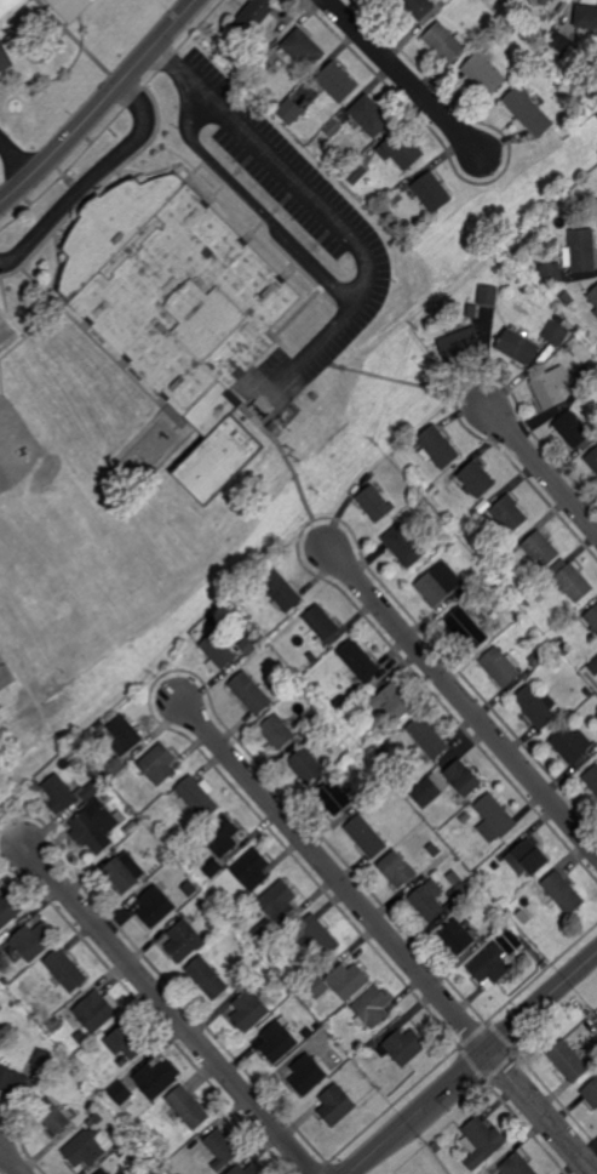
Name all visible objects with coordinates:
building: (543, 1)
building: (10, 7)
building: (71, 7)
building: (418, 7)
building: (253, 16)
building: (585, 17)
building: (496, 18)
building: (536, 34)
building: (444, 42)
building: (558, 44)
building: (304, 49)
building: (5, 58)
building: (239, 72)
building: (484, 74)
building: (249, 78)
road: (404, 78)
building: (338, 81)
road: (99, 104)
building: (291, 110)
building: (528, 112)
building: (371, 115)
building: (333, 127)
building: (401, 149)
road: (17, 158)
building: (357, 173)
road: (91, 178)
building: (432, 192)
building: (396, 198)
road: (253, 203)
building: (596, 204)
road: (323, 210)
building: (581, 251)
building: (550, 274)
building: (176, 293)
building: (488, 296)
building: (593, 296)
building: (567, 298)
building: (471, 310)
building: (596, 313)
building: (558, 320)
building: (556, 334)
building: (460, 344)
building: (517, 348)
building: (589, 372)
road: (398, 380)
building: (552, 388)
building: (572, 429)
building: (438, 445)
road: (285, 457)
building: (218, 458)
building: (592, 458)
road: (543, 467)
building: (477, 478)
park: (259, 498)
building: (374, 502)
building: (509, 513)
building: (404, 545)
building: (540, 548)
building: (570, 580)
building: (438, 583)
building: (280, 589)
building: (534, 591)
building: (501, 602)
building: (527, 605)
building: (592, 617)
building: (323, 625)
building: (466, 627)
building: (248, 644)
building: (218, 651)
building: (539, 656)
building: (358, 663)
building: (593, 666)
building: (500, 667)
building: (251, 693)
road: (461, 699)
building: (363, 701)
building: (392, 701)
building: (535, 706)
road: (40, 707)
building: (338, 711)
building: (585, 711)
building: (321, 714)
building: (309, 725)
building: (126, 731)
building: (277, 731)
building: (427, 737)
building: (570, 743)
building: (157, 764)
building: (305, 765)
building: (115, 766)
building: (201, 771)
building: (464, 777)
building: (591, 777)
building: (88, 792)
building: (109, 792)
building: (426, 792)
building: (58, 793)
building: (334, 797)
building: (196, 798)
building: (157, 803)
building: (465, 817)
building: (494, 819)
building: (94, 827)
building: (197, 827)
road: (11, 828)
building: (220, 836)
building: (366, 837)
building: (434, 849)
building: (528, 859)
building: (493, 865)
building: (213, 870)
building: (251, 870)
building: (398, 870)
building: (122, 872)
building: (500, 872)
road: (333, 874)
building: (535, 887)
building: (190, 889)
building: (563, 893)
building: (482, 896)
building: (459, 897)
building: (429, 900)
building: (279, 901)
building: (155, 906)
building: (8, 910)
building: (526, 916)
building: (220, 923)
building: (266, 931)
building: (320, 935)
building: (507, 935)
building: (458, 938)
building: (184, 940)
building: (31, 942)
building: (1, 952)
building: (315, 964)
building: (490, 968)
building: (65, 970)
building: (260, 975)
building: (206, 978)
building: (6, 981)
building: (349, 981)
building: (317, 986)
building: (374, 1007)
road: (171, 1008)
building: (249, 1010)
building: (96, 1011)
park: (8, 1019)
building: (56, 1025)
building: (306, 1033)
building: (277, 1042)
building: (126, 1043)
building: (374, 1045)
building: (403, 1047)
building: (40, 1059)
building: (122, 1061)
building: (568, 1062)
road: (473, 1065)
building: (308, 1075)
building: (156, 1079)
building: (12, 1082)
building: (591, 1093)
building: (121, 1094)
building: (335, 1106)
building: (188, 1107)
road: (541, 1113)
building: (125, 1115)
building: (52, 1116)
building: (97, 1118)
building: (481, 1139)
building: (84, 1150)
building: (222, 1150)
road: (11, 1161)
building: (517, 1166)
building: (239, 1168)
building: (103, 1172)

